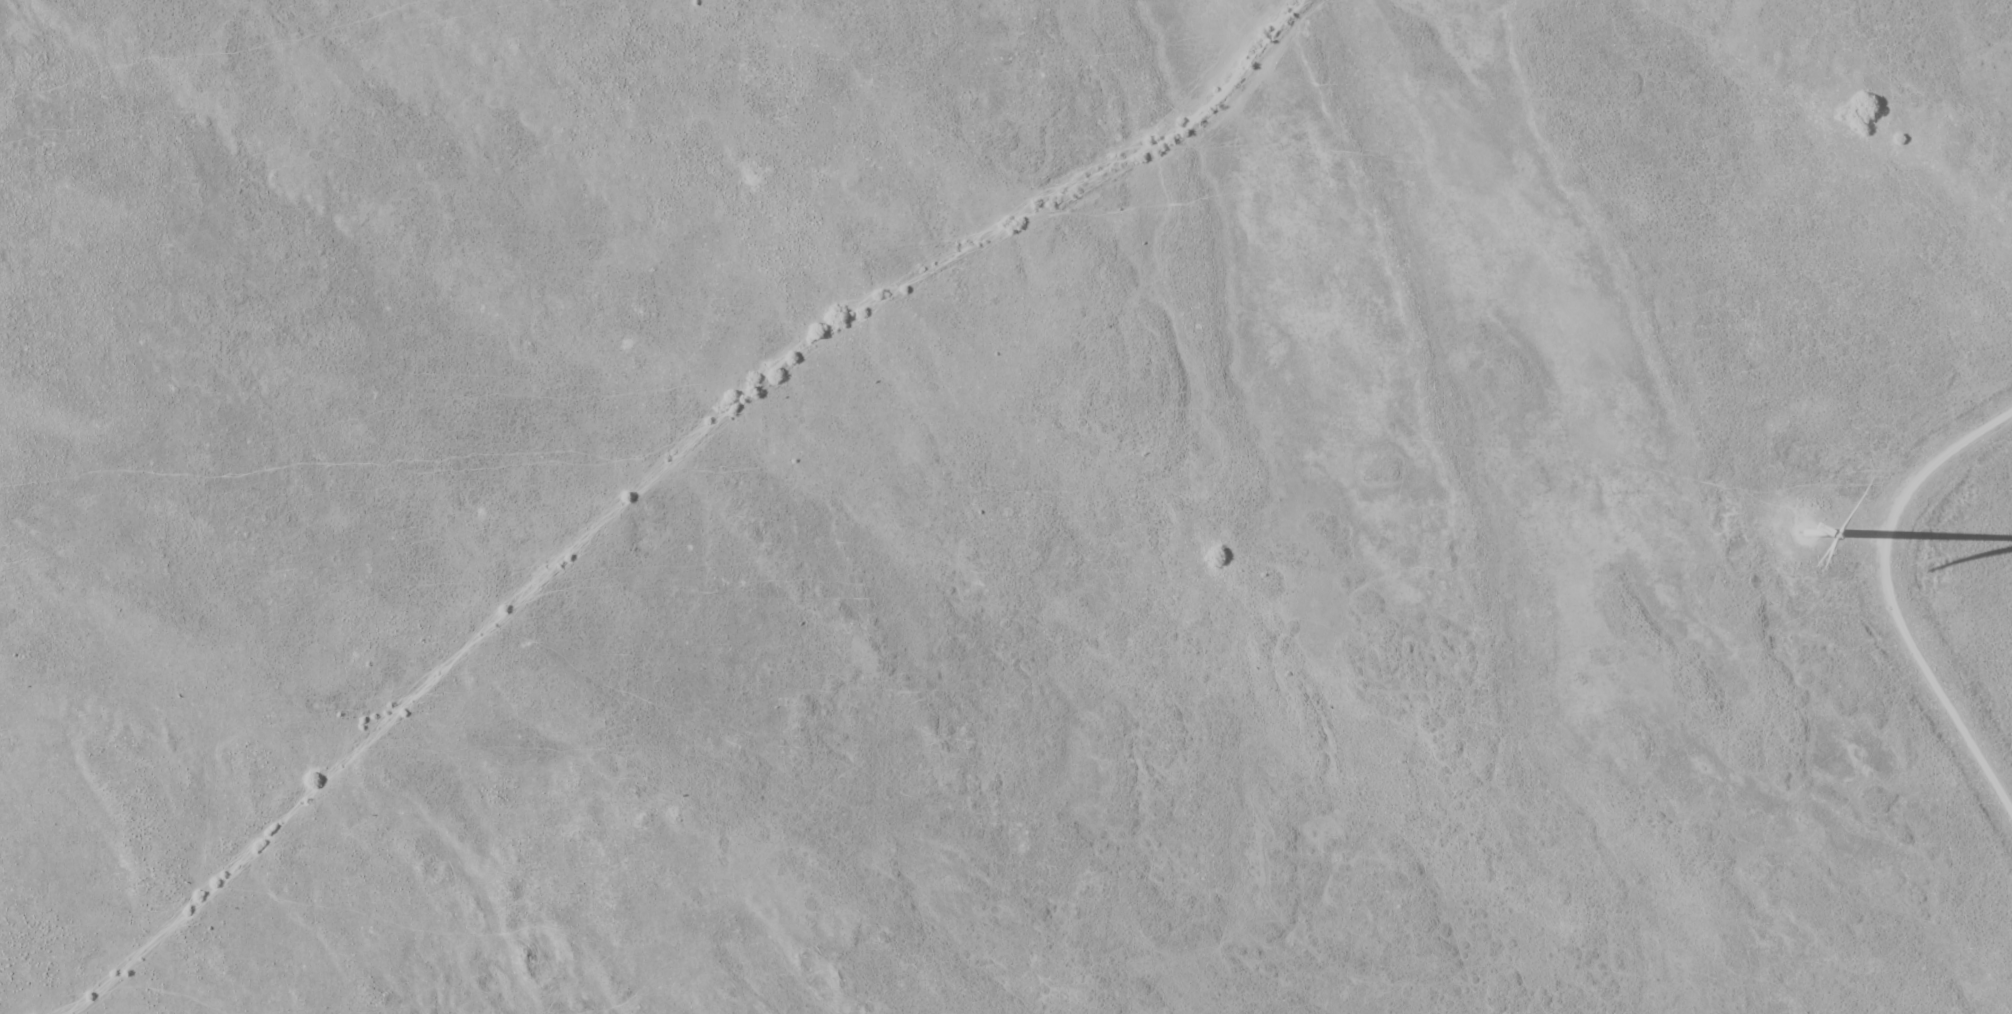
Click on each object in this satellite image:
wind turbine: (1814, 536)

